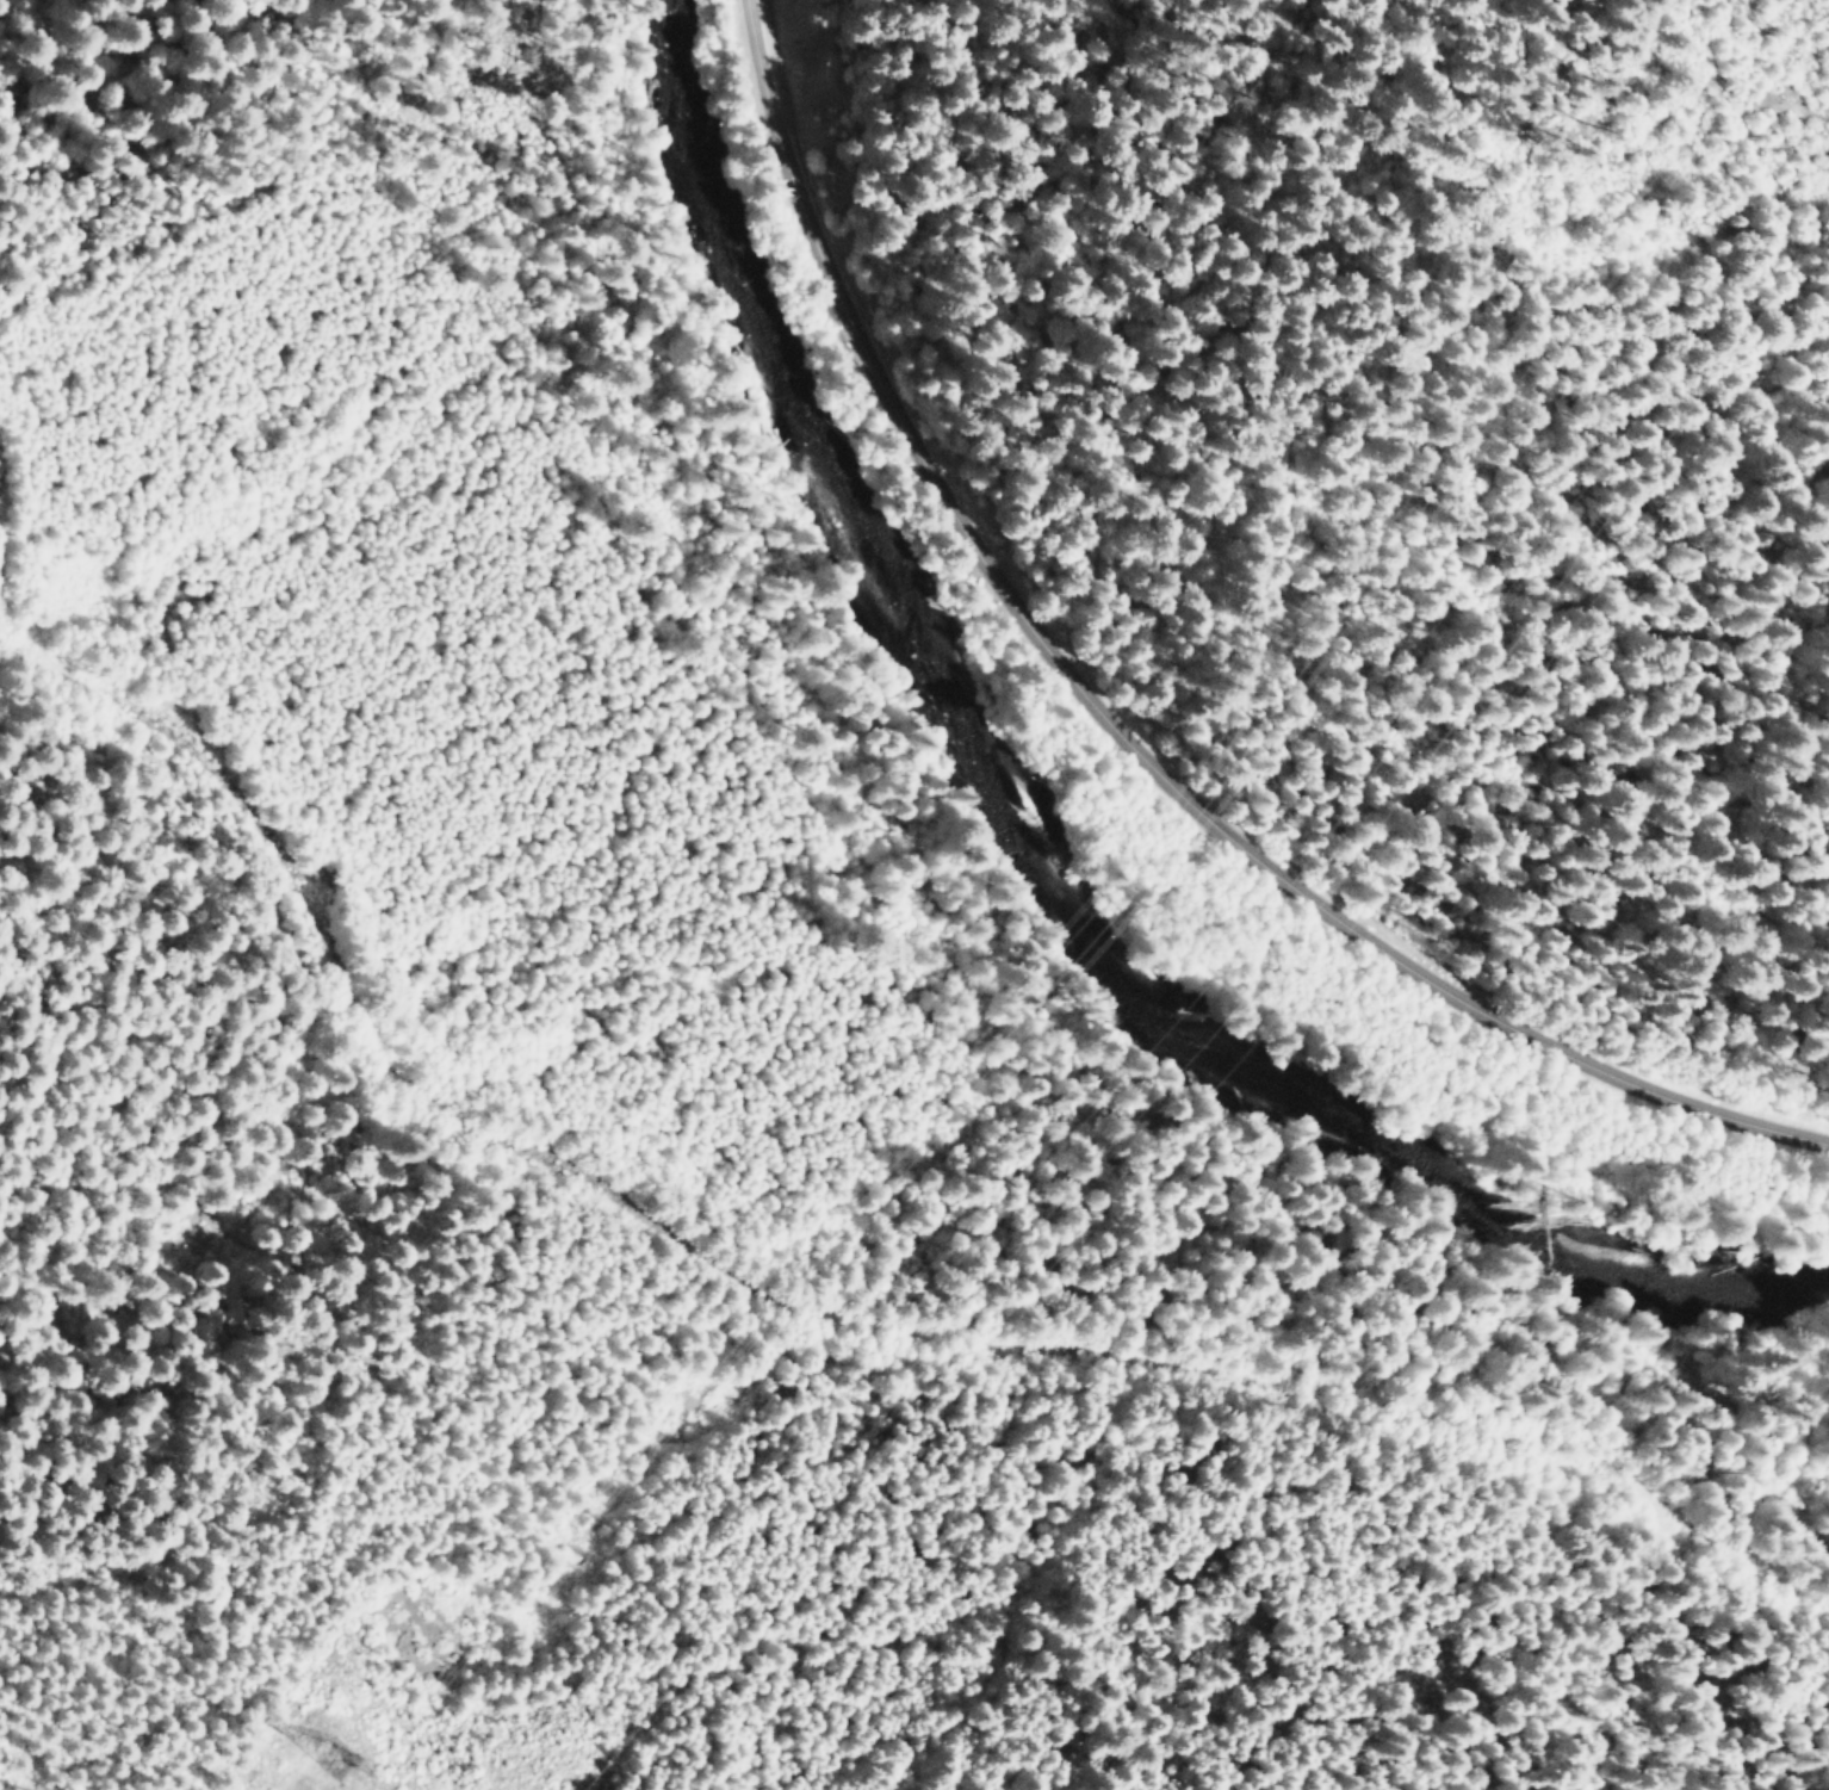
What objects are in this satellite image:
road: (1120, 730)
river: (1042, 840)
road: (793, 1306)
power tower: (325, 1776)

